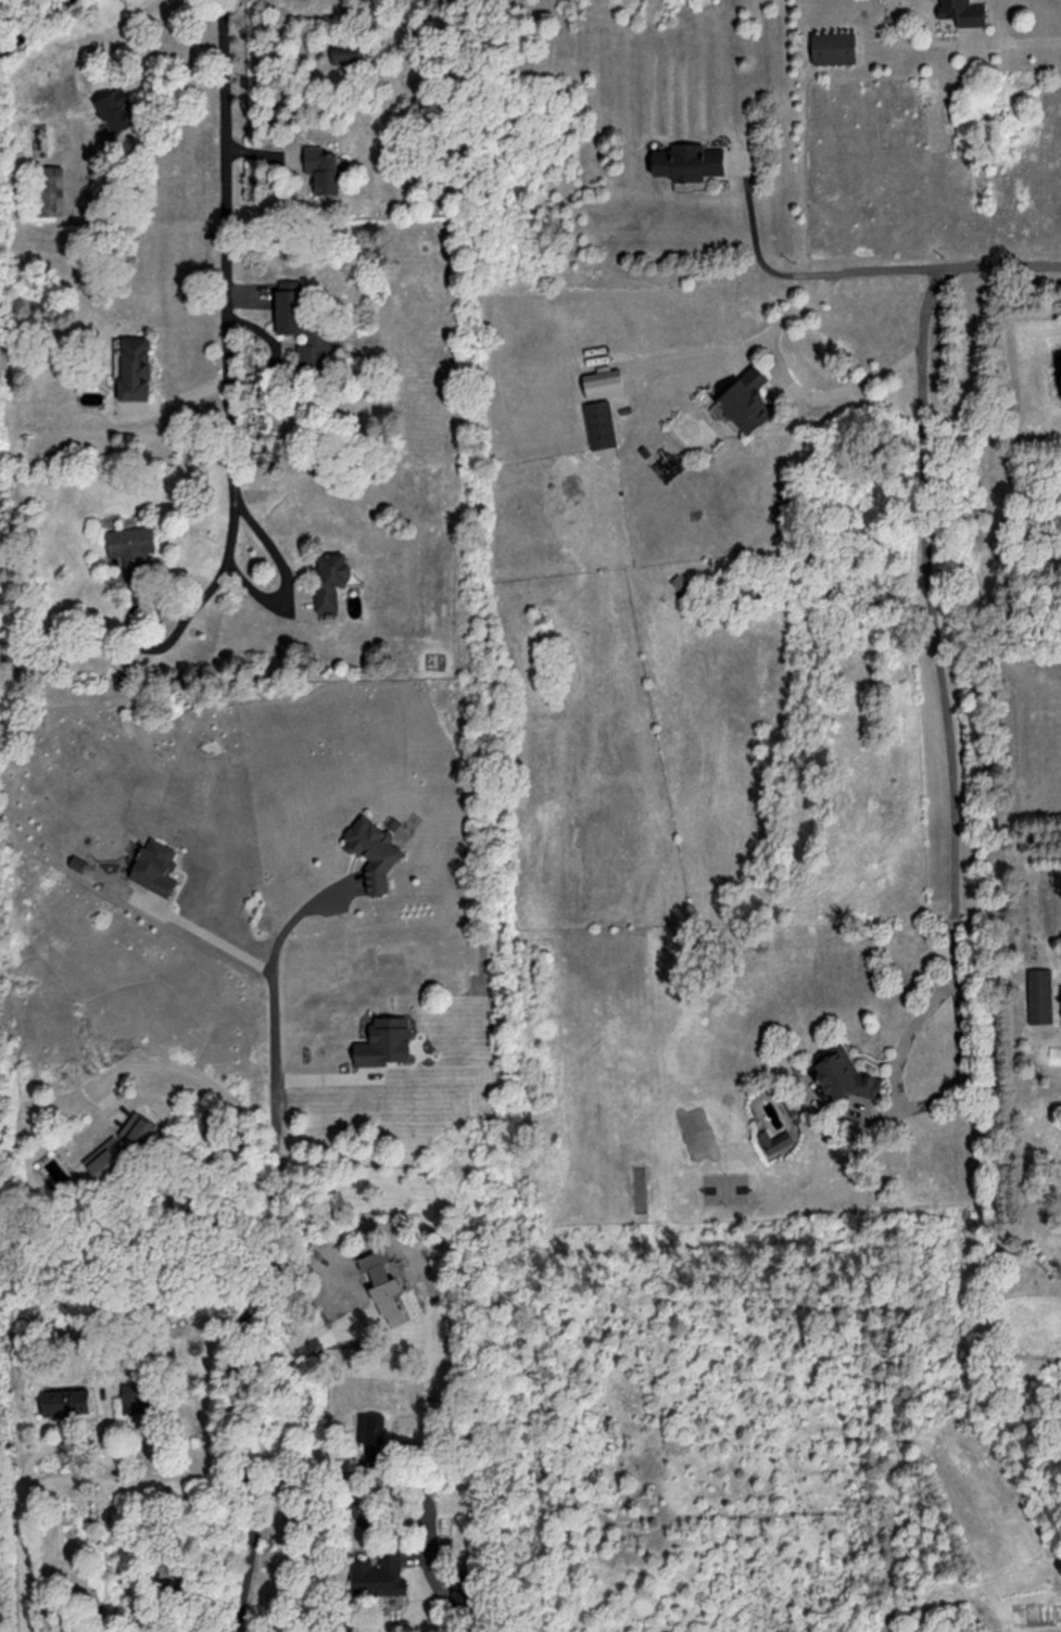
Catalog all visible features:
road: (144, 8)
building: (965, 13)
road: (1021, 48)
building: (835, 49)
building: (346, 56)
road: (123, 77)
building: (119, 114)
building: (692, 163)
building: (324, 170)
building: (49, 192)
road: (807, 276)
road: (228, 280)
building: (310, 341)
building: (9, 356)
building: (136, 369)
building: (606, 387)
road: (792, 388)
building: (750, 402)
building: (602, 425)
building: (131, 541)
road: (918, 565)
road: (211, 579)
building: (331, 580)
building: (376, 853)
road: (218, 941)
building: (1041, 997)
road: (268, 1024)
building: (845, 1076)
road: (921, 1112)
building: (774, 1140)
building: (124, 1153)
road: (268, 1283)
road: (310, 1354)
building: (138, 1399)
building: (60, 1404)
building: (372, 1428)
road: (371, 1477)
road: (24, 1526)
building: (380, 1574)

